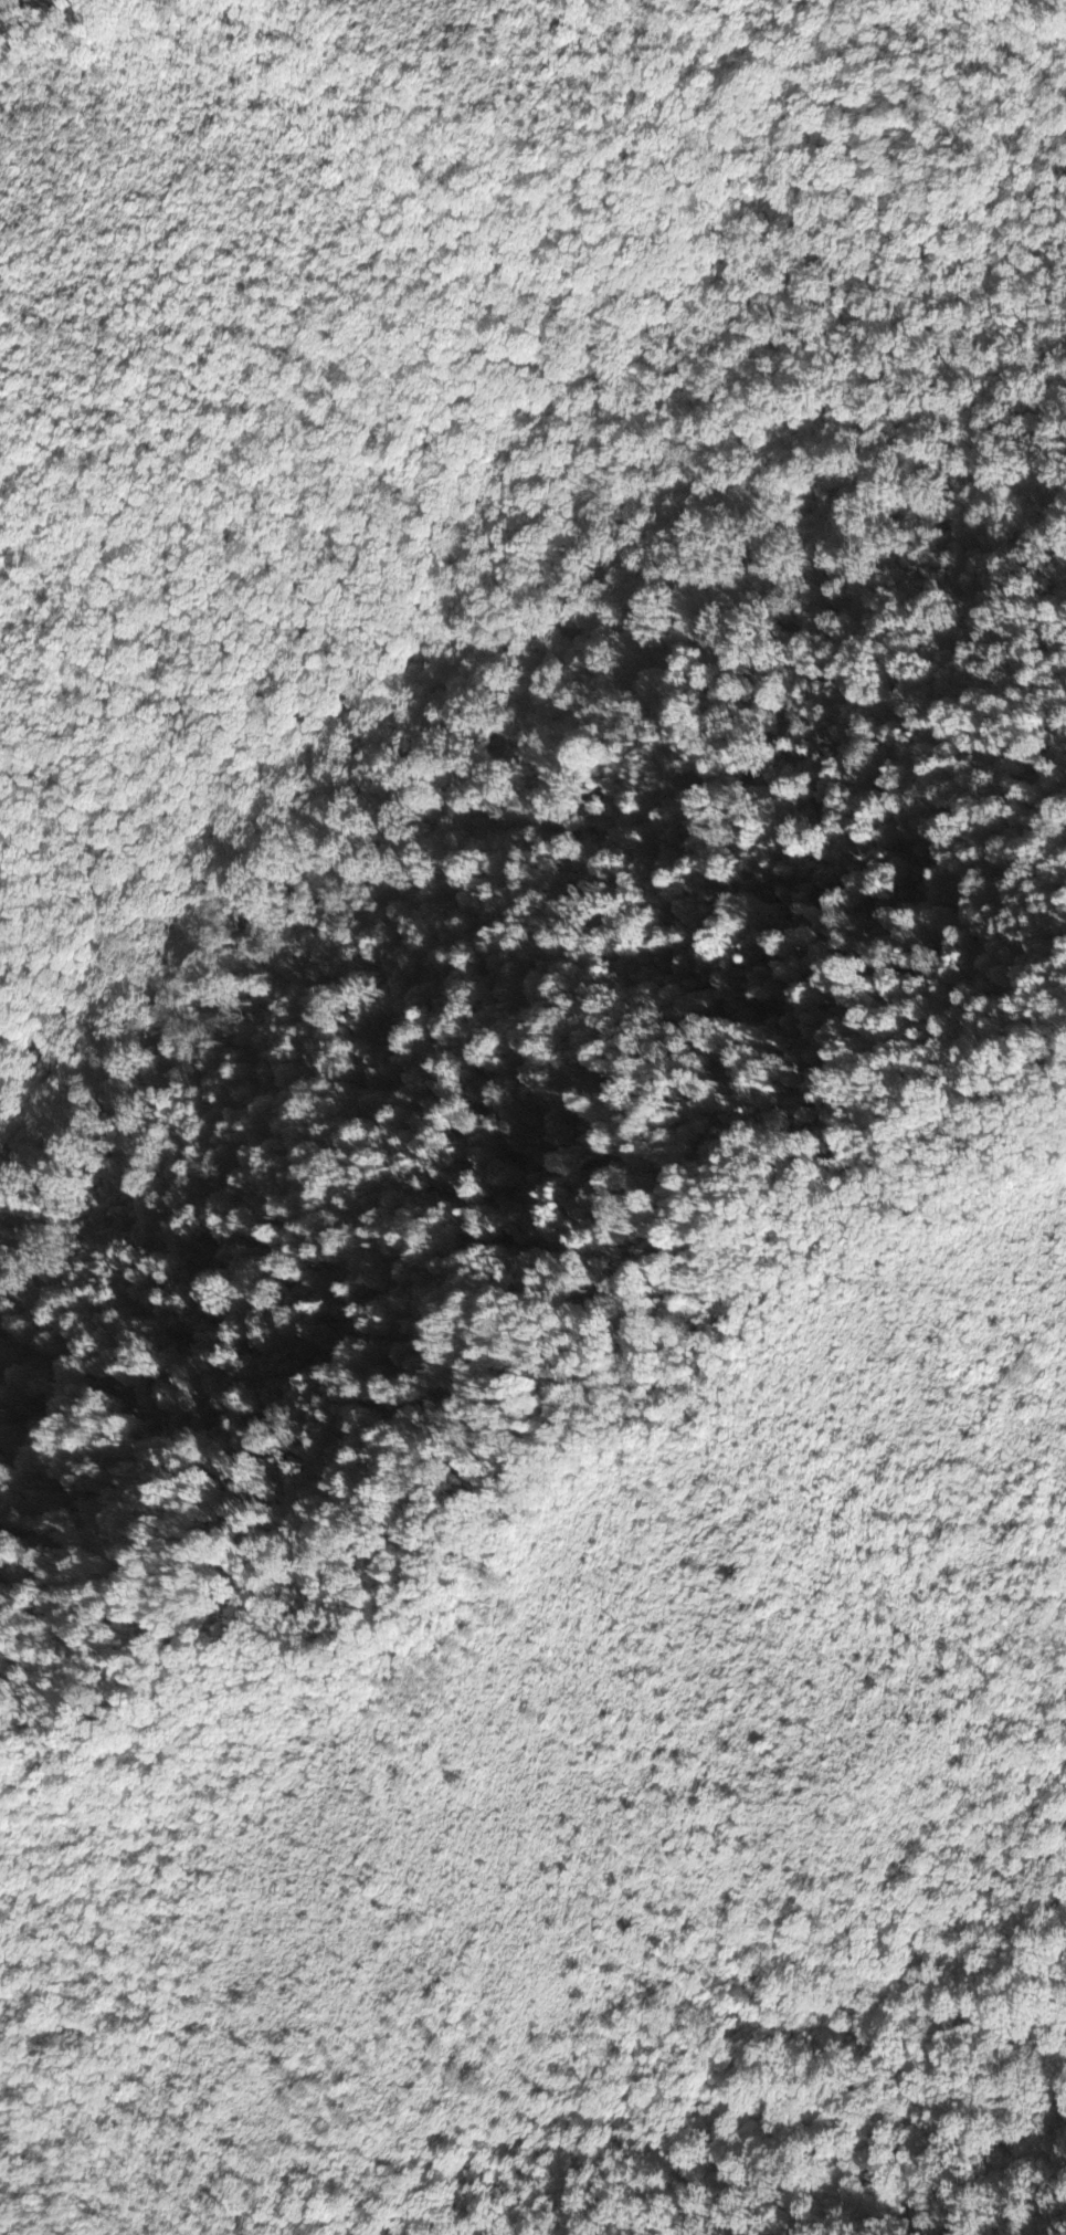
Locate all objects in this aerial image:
road: (1020, 2208)

